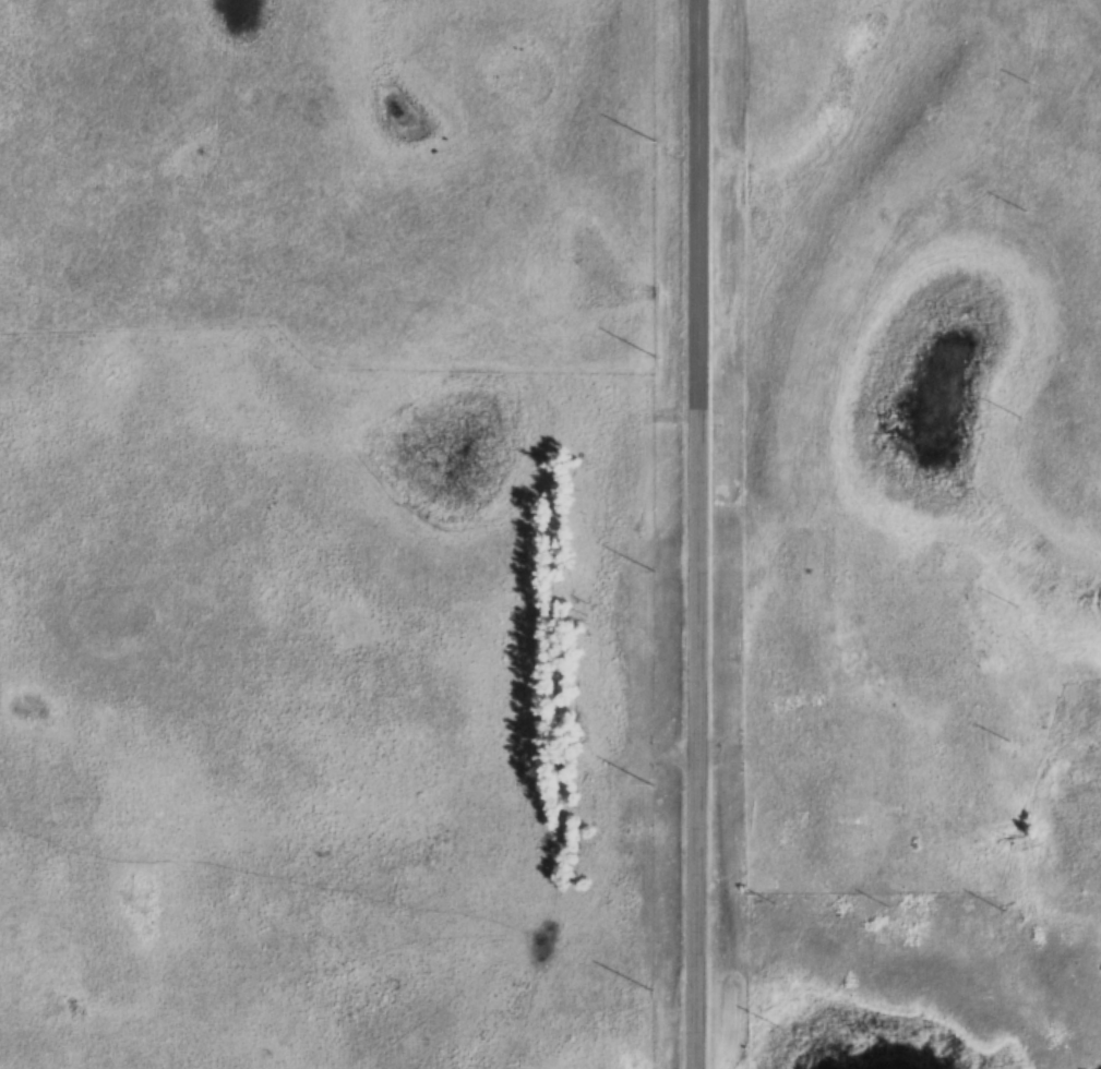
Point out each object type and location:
road: (694, 533)

